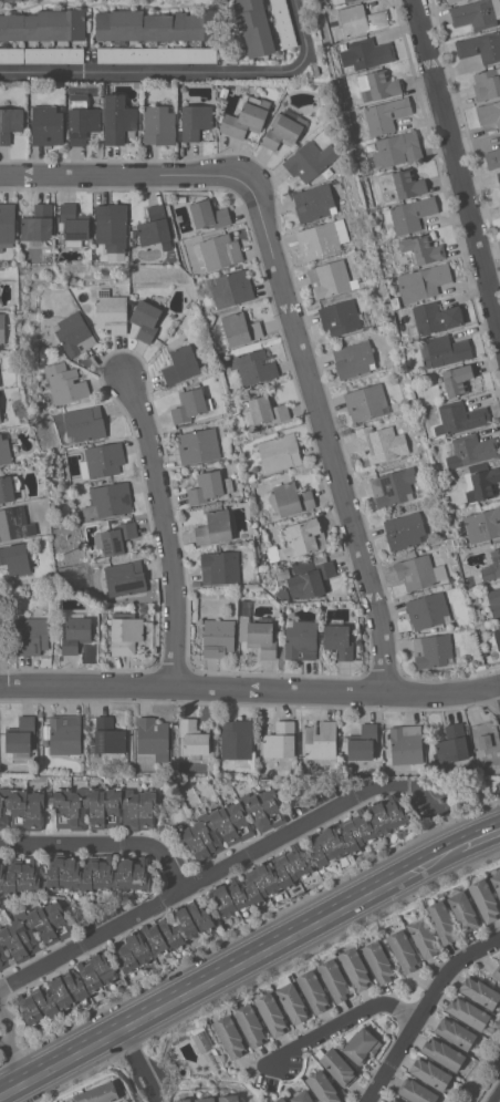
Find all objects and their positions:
building: (10, 0)
building: (340, 1)
building: (451, 1)
building: (477, 13)
building: (360, 20)
building: (283, 23)
building: (44, 25)
building: (155, 25)
building: (254, 28)
road: (303, 33)
building: (481, 47)
building: (367, 53)
building: (157, 54)
building: (42, 55)
road: (149, 72)
building: (487, 84)
building: (377, 85)
building: (489, 113)
building: (386, 115)
building: (246, 117)
building: (82, 119)
building: (118, 119)
building: (195, 121)
building: (10, 124)
building: (48, 125)
building: (159, 125)
building: (283, 131)
building: (499, 135)
building: (397, 150)
building: (492, 158)
road: (458, 159)
building: (310, 161)
road: (137, 175)
building: (499, 176)
building: (403, 184)
building: (314, 203)
building: (409, 214)
building: (209, 215)
building: (39, 223)
building: (7, 224)
building: (72, 226)
building: (112, 226)
building: (155, 226)
building: (322, 238)
building: (423, 248)
building: (219, 251)
building: (331, 278)
building: (423, 282)
building: (231, 288)
building: (112, 313)
building: (340, 317)
building: (435, 318)
building: (145, 319)
building: (2, 328)
building: (239, 329)
building: (74, 334)
building: (444, 351)
building: (354, 359)
building: (1, 363)
building: (180, 364)
building: (254, 367)
building: (458, 380)
building: (65, 383)
building: (366, 402)
building: (189, 404)
building: (268, 410)
building: (0, 418)
building: (460, 418)
building: (84, 423)
building: (381, 443)
building: (198, 445)
road: (331, 446)
building: (470, 450)
building: (4, 451)
building: (280, 452)
building: (102, 461)
building: (482, 481)
building: (209, 486)
building: (9, 487)
building: (393, 487)
building: (293, 498)
building: (108, 501)
building: (15, 523)
building: (483, 525)
road: (168, 527)
building: (215, 527)
building: (404, 531)
building: (303, 537)
building: (116, 538)
building: (15, 558)
building: (492, 566)
building: (220, 567)
building: (416, 573)
building: (125, 578)
building: (312, 580)
building: (494, 600)
building: (428, 610)
building: (76, 632)
building: (126, 632)
building: (257, 632)
building: (32, 636)
building: (218, 637)
building: (497, 638)
building: (301, 640)
building: (338, 641)
building: (433, 650)
road: (250, 688)
building: (65, 734)
building: (20, 735)
building: (108, 737)
building: (194, 737)
building: (154, 738)
building: (237, 739)
building: (280, 741)
building: (321, 741)
building: (363, 742)
building: (483, 743)
building: (406, 744)
building: (452, 744)
building: (80, 807)
building: (230, 823)
road: (475, 837)
road: (103, 844)
building: (327, 855)
road: (217, 872)
building: (77, 875)
building: (496, 880)
building: (483, 898)
building: (462, 910)
building: (442, 921)
building: (54, 930)
building: (421, 935)
building: (163, 936)
building: (403, 950)
building: (3, 958)
building: (378, 961)
building: (355, 968)
road: (226, 971)
building: (497, 972)
building: (334, 979)
building: (67, 989)
building: (313, 991)
building: (481, 993)
building: (292, 1002)
road: (424, 1011)
building: (271, 1012)
building: (469, 1015)
road: (342, 1022)
building: (250, 1024)
building: (457, 1033)
building: (230, 1036)
building: (201, 1041)
building: (361, 1043)
road: (15, 1051)
building: (444, 1054)
road: (140, 1064)
building: (337, 1067)
building: (430, 1073)
building: (323, 1088)
building: (417, 1091)
building: (100, 1093)
building: (302, 1096)
building: (229, 1098)
building: (206, 1099)
building: (281, 1099)
building: (183, 1100)
building: (393, 1101)
building: (404, 1101)

